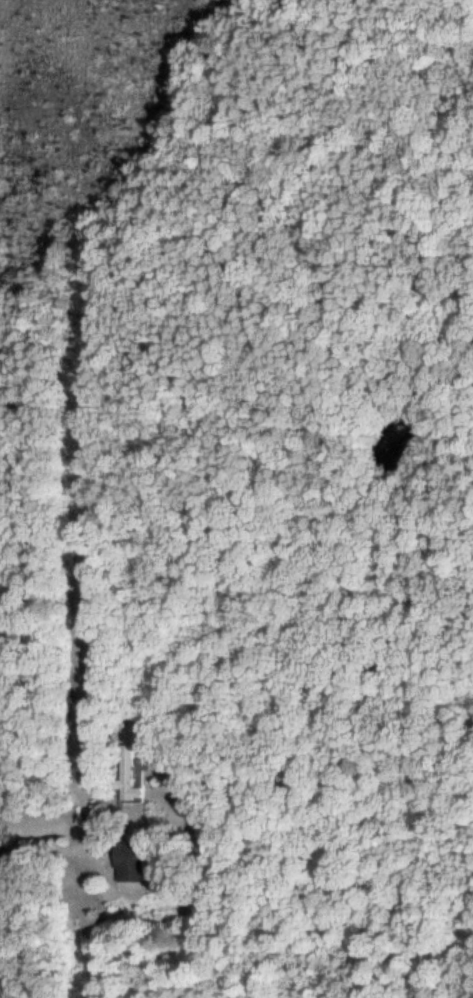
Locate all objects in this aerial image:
building: (128, 774)
building: (127, 860)

